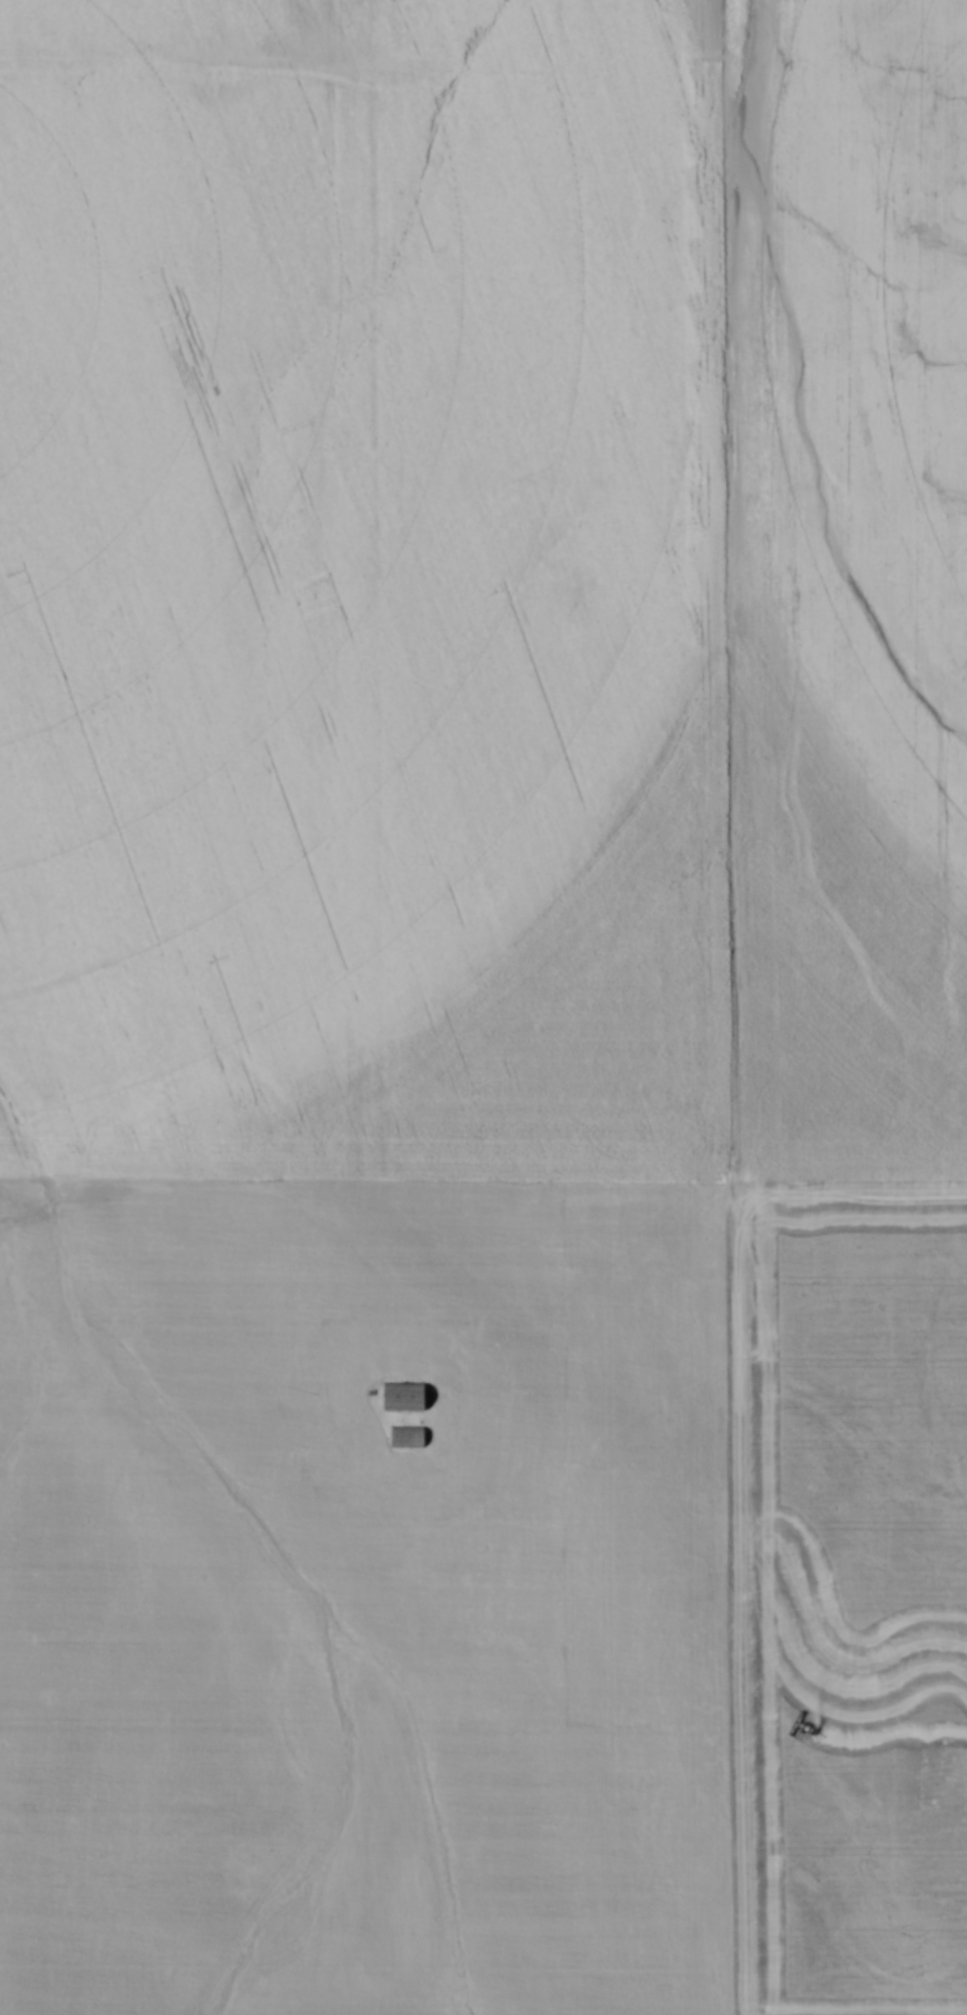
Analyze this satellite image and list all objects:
building: (401, 1398)
building: (405, 1437)

